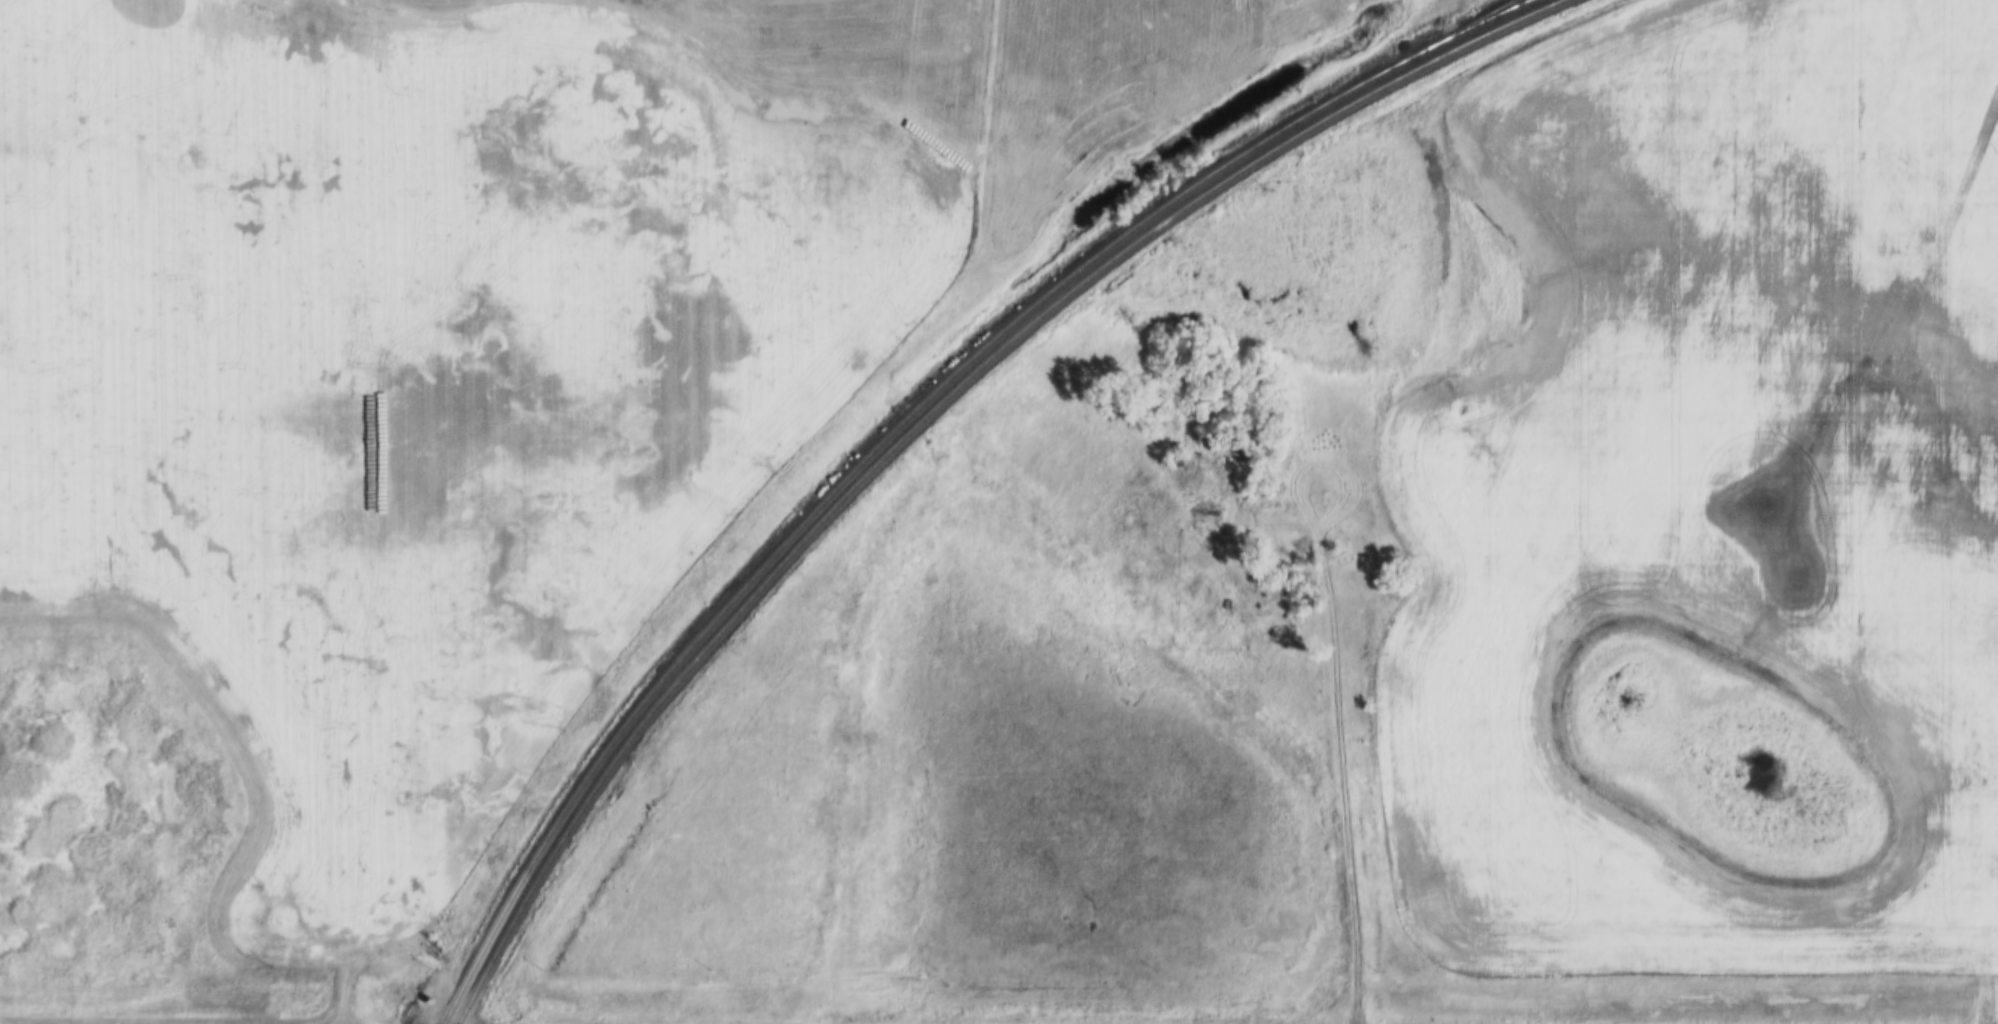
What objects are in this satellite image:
railway: (1496, 11)
railway: (1506, 11)
railway: (887, 439)

